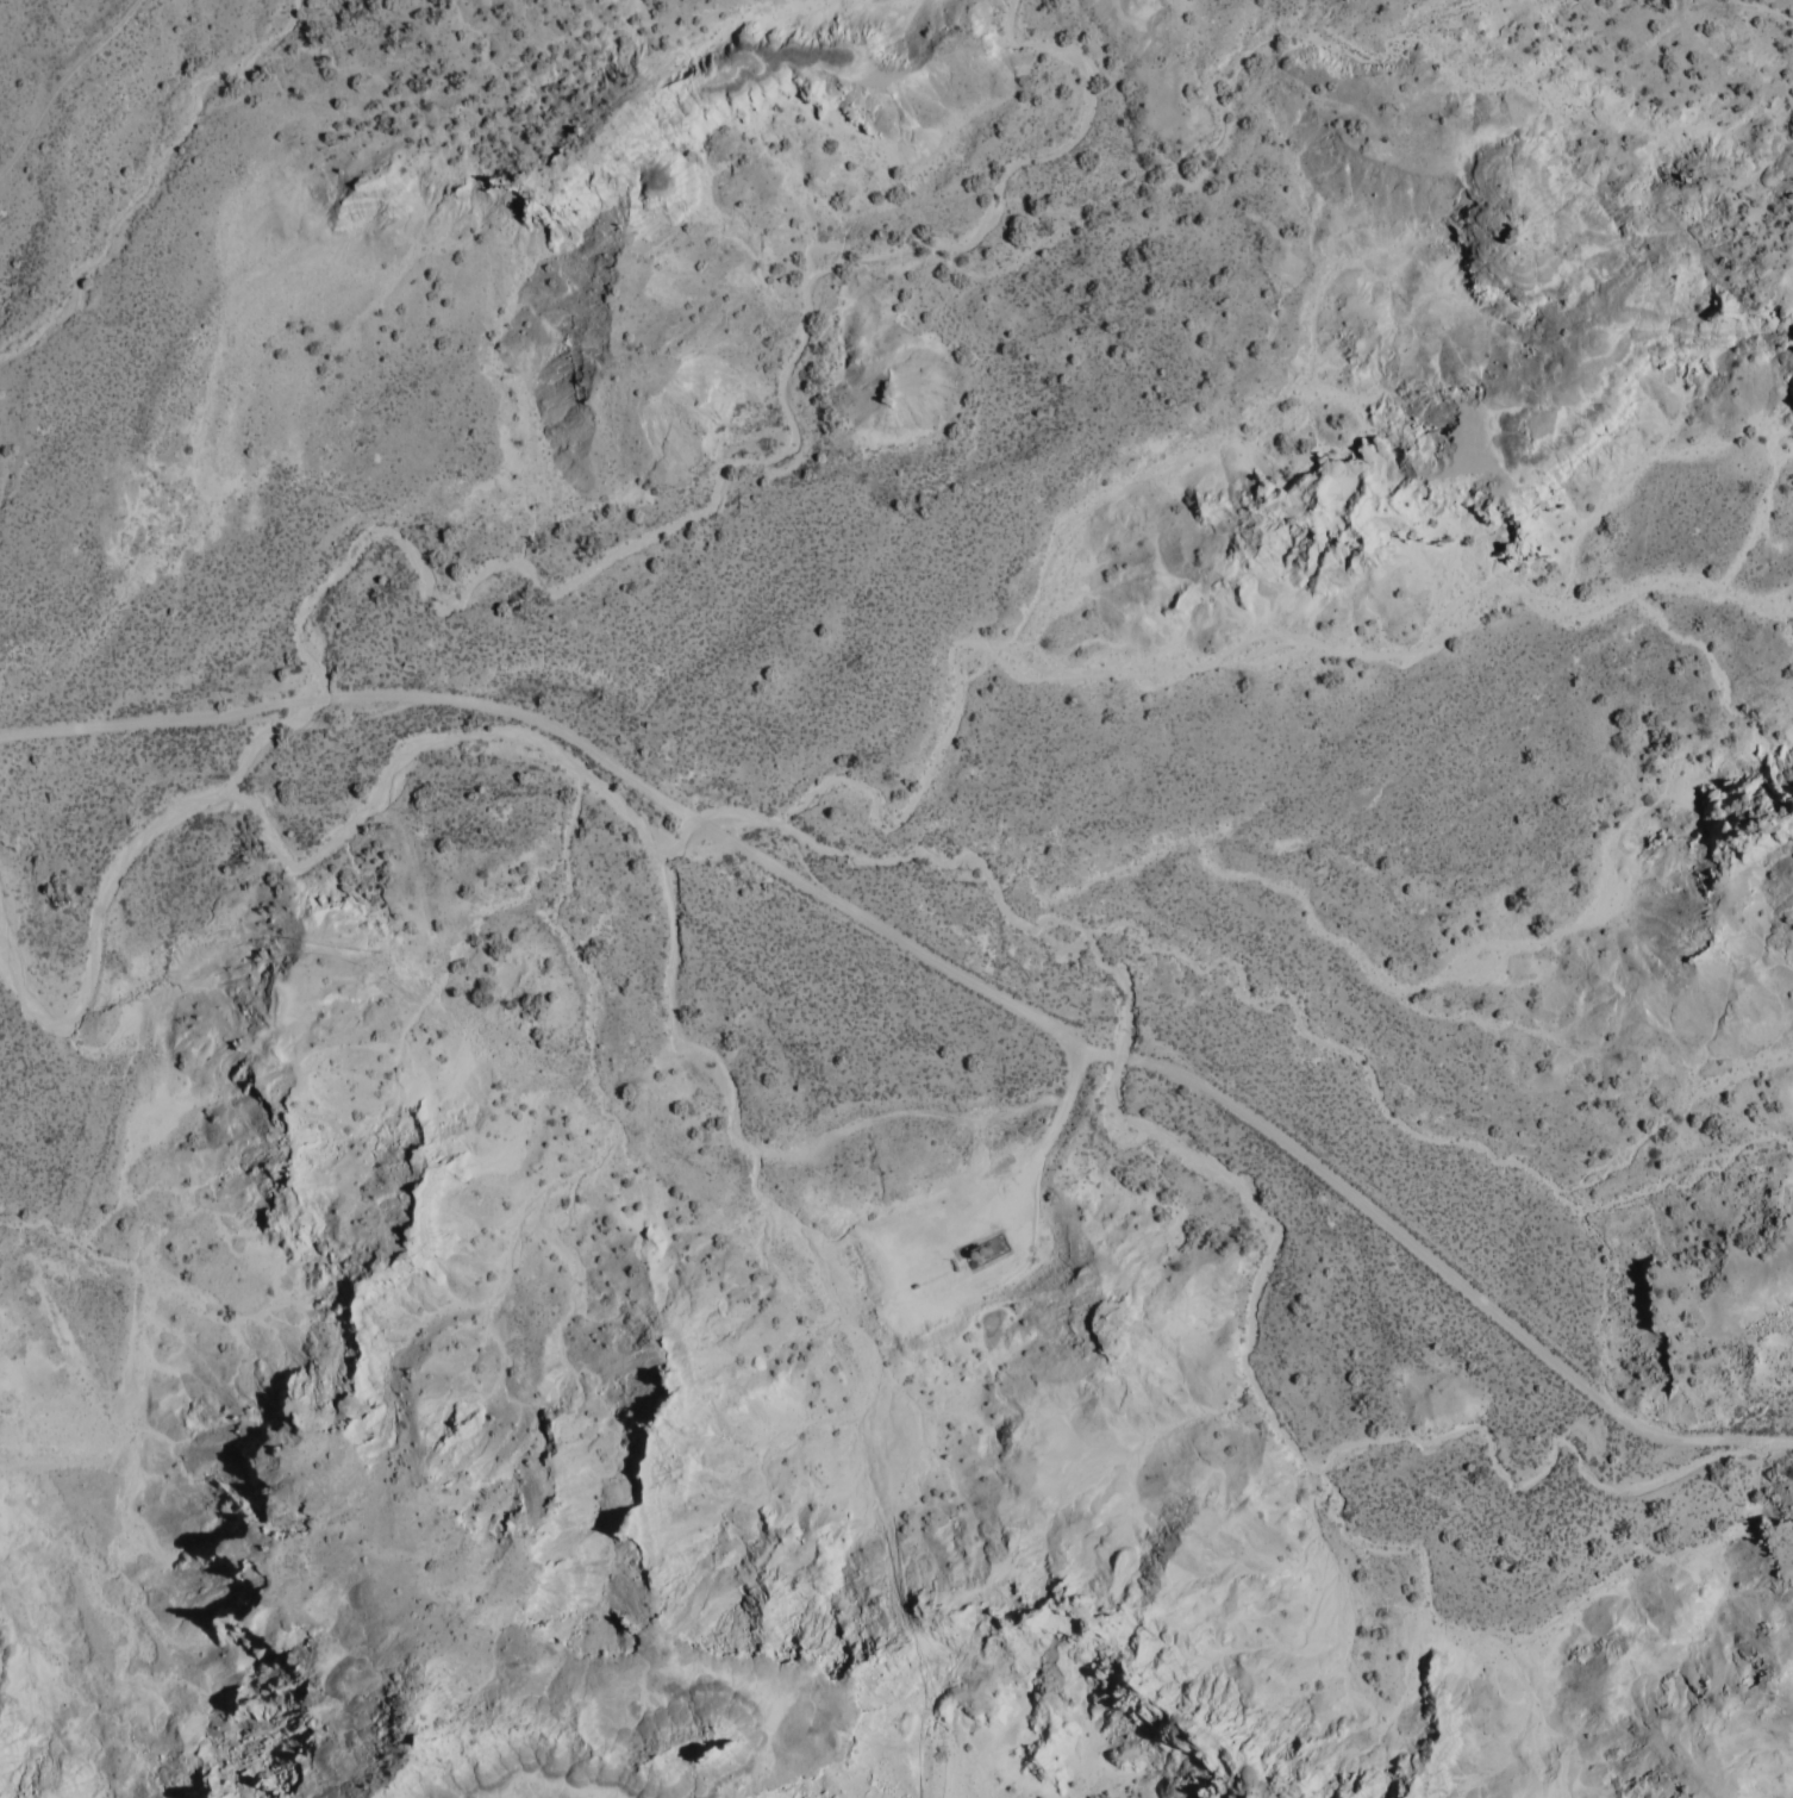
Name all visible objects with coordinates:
river: (133, 939)

